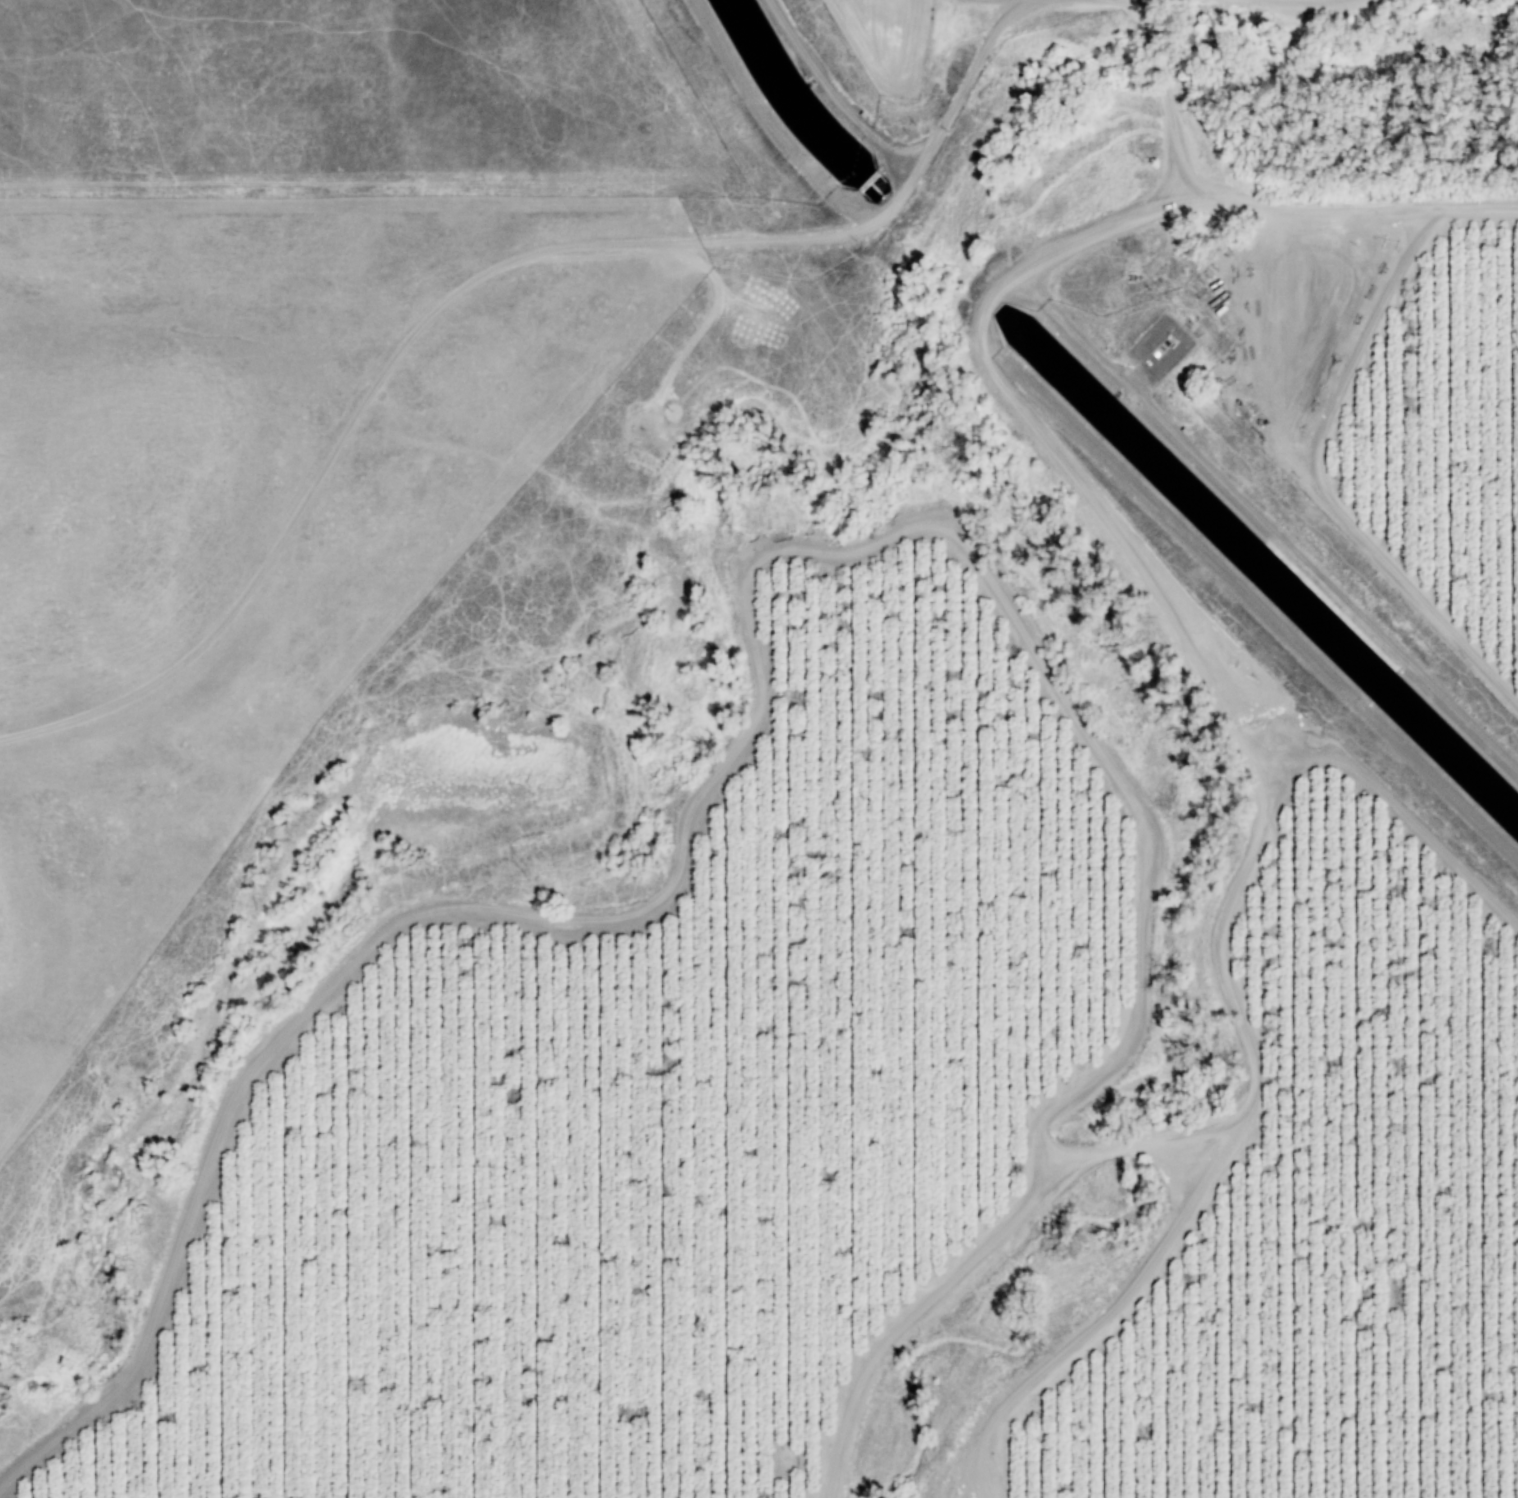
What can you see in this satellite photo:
road: (1145, 12)
road: (1156, 50)
road: (1168, 111)
road: (1309, 203)
road: (1493, 205)
road: (473, 279)
road: (708, 315)
road: (1317, 466)
road: (739, 750)
road: (1259, 785)
road: (1390, 800)
road: (1141, 1145)
road: (907, 1323)

